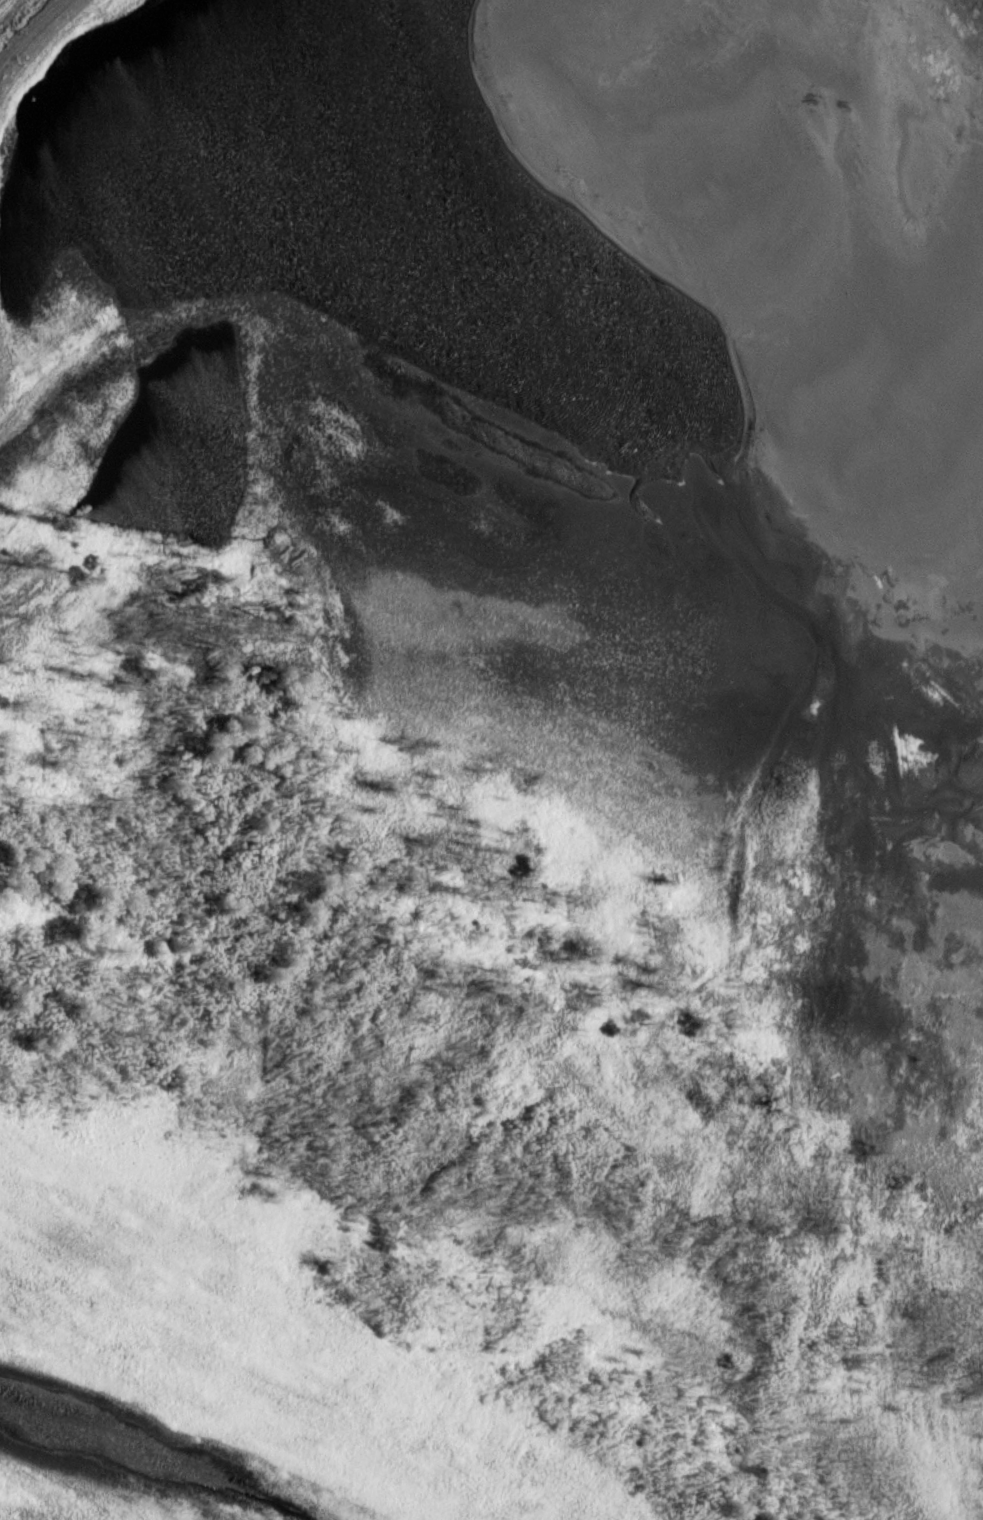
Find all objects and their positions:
road: (221, 195)

